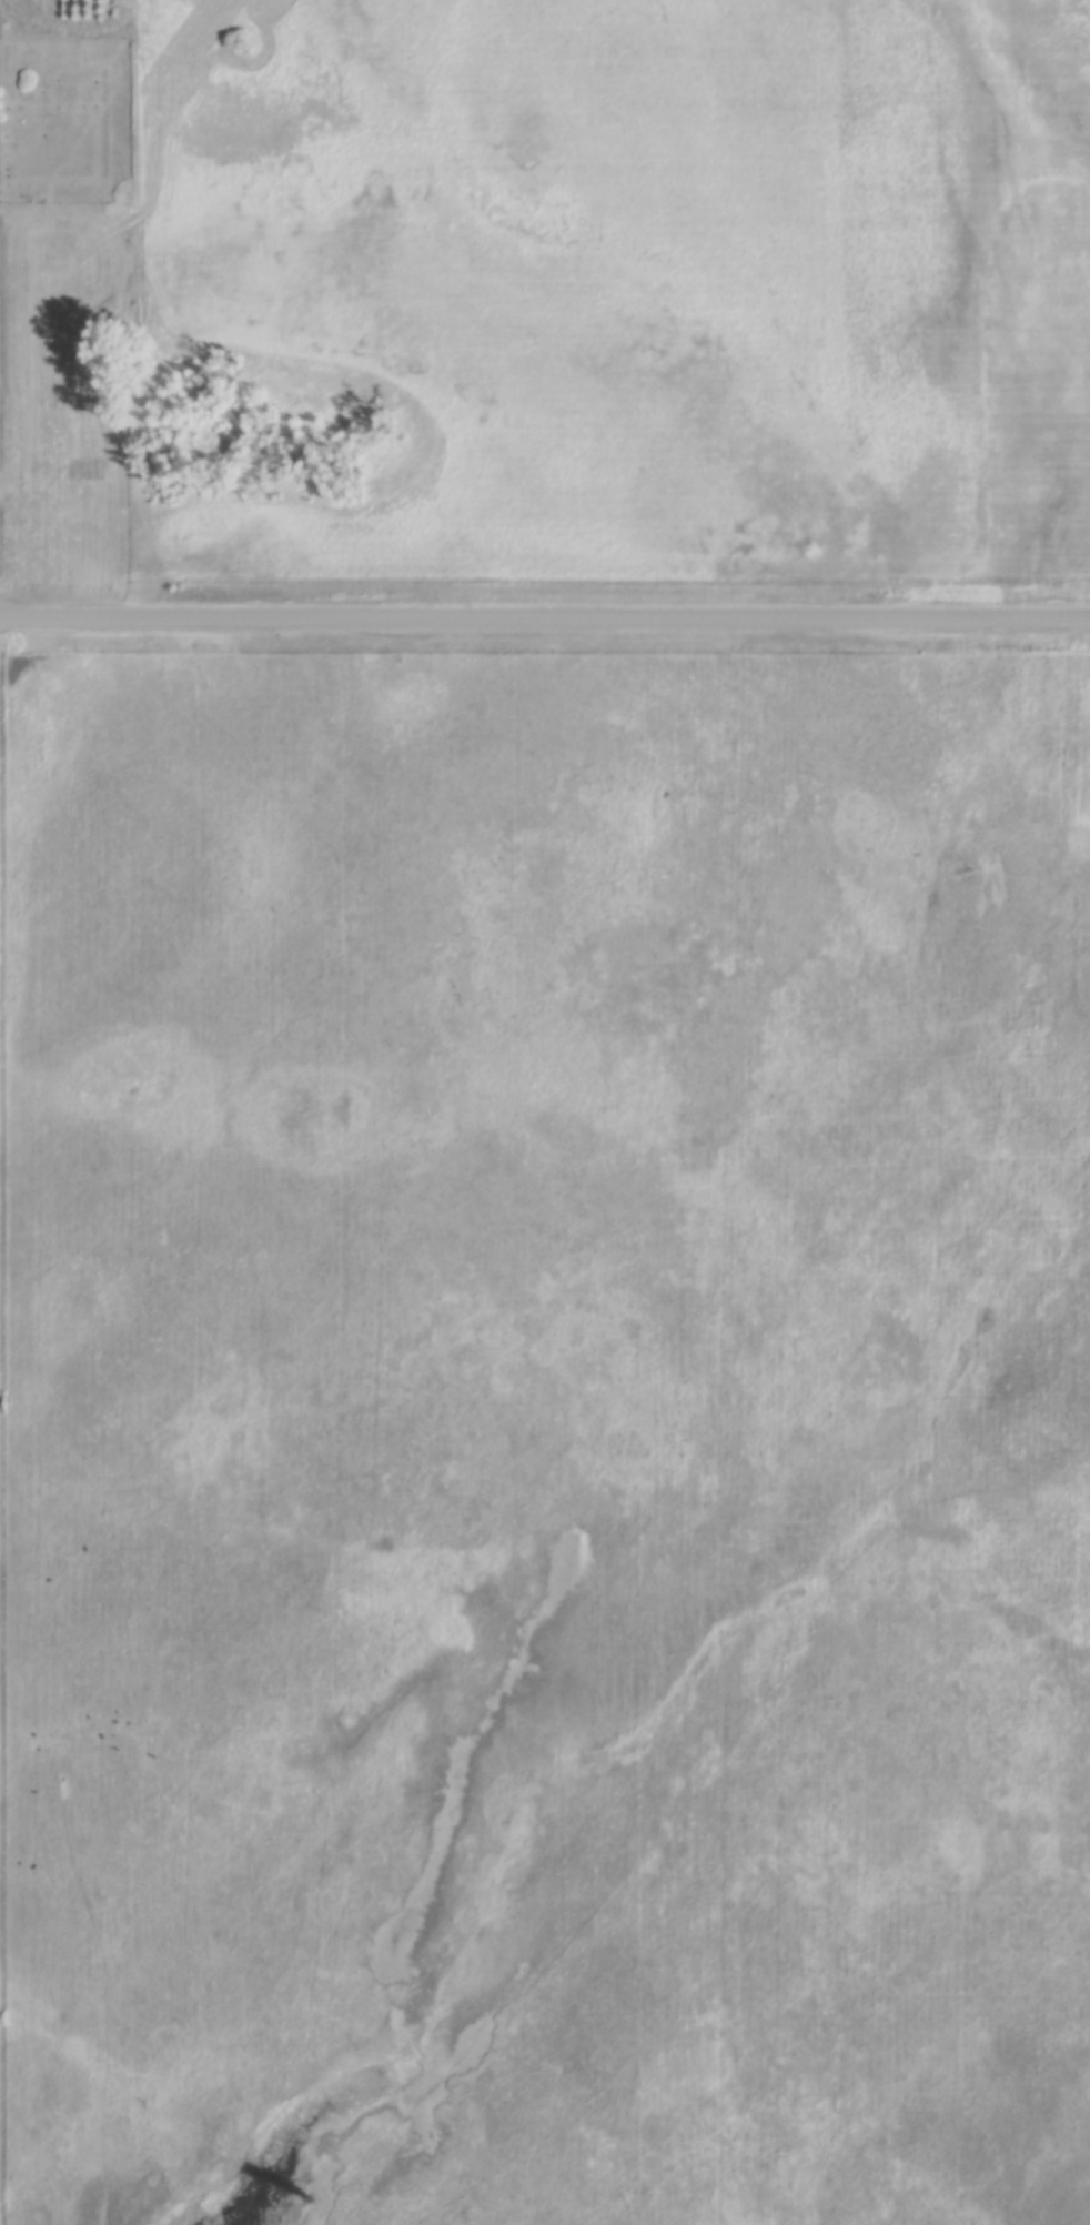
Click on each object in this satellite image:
park: (64, 122)
road: (545, 617)

